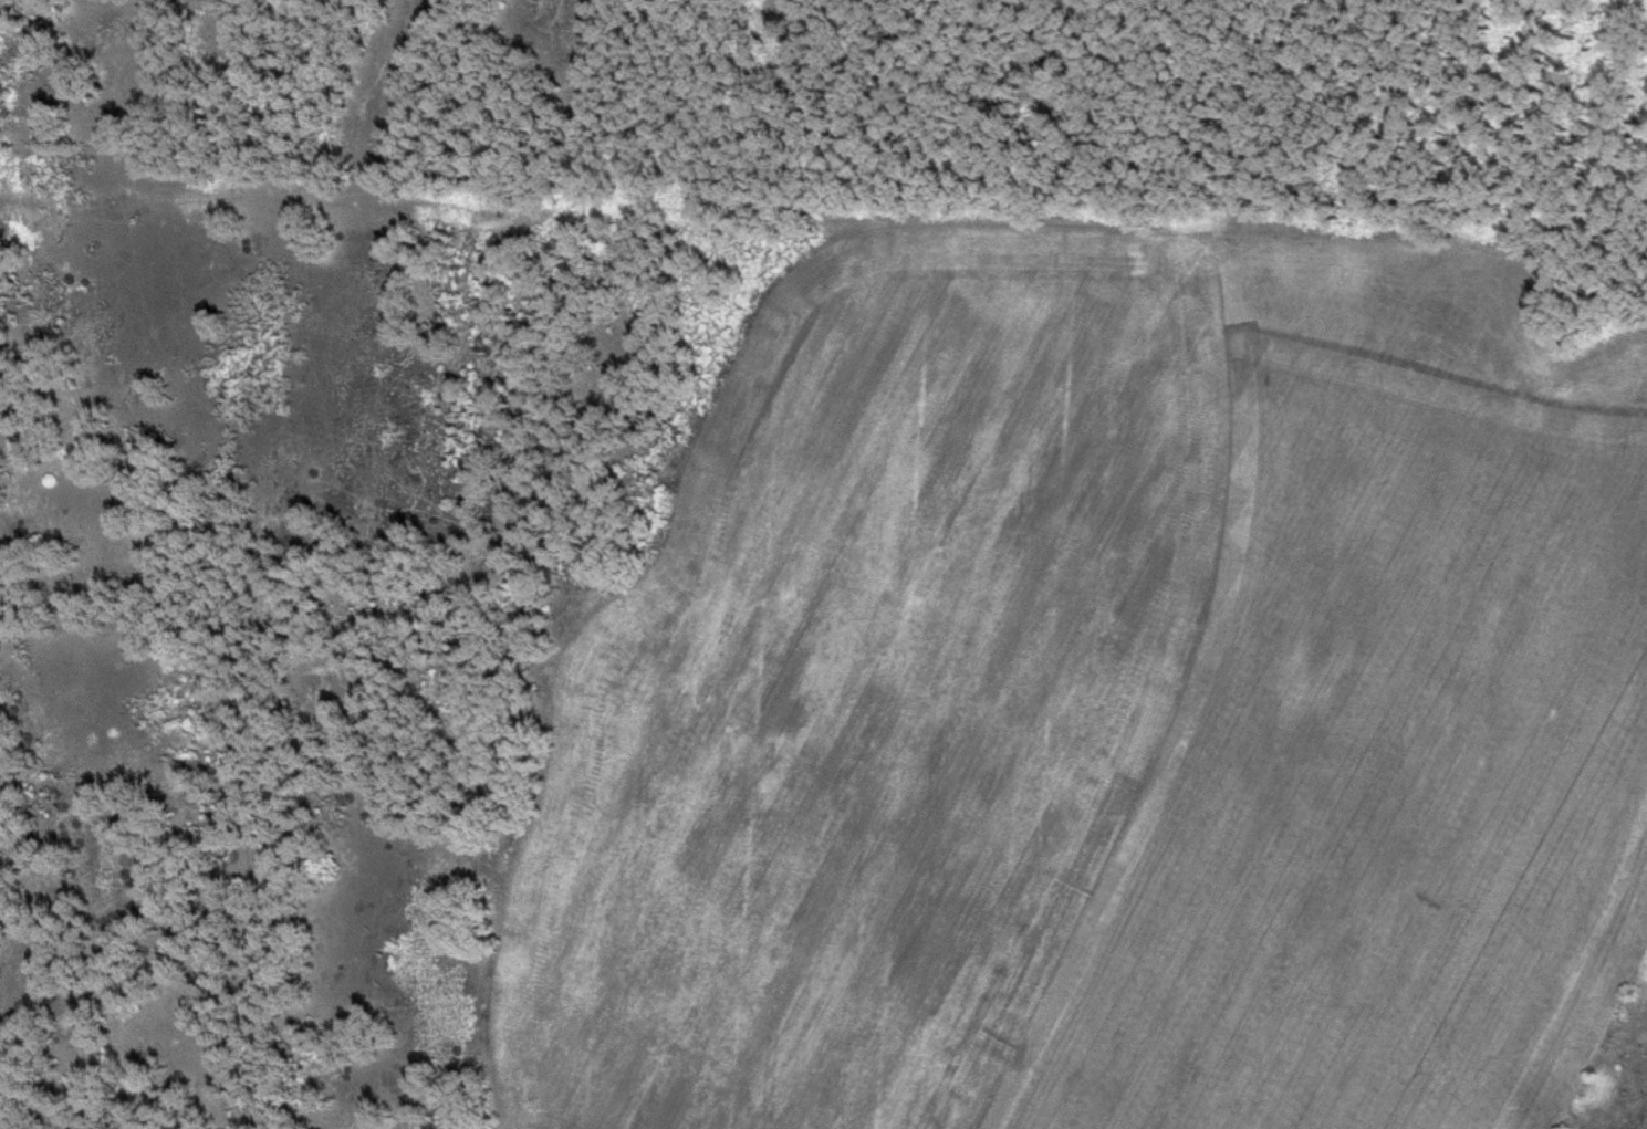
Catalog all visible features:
road: (823, 262)

